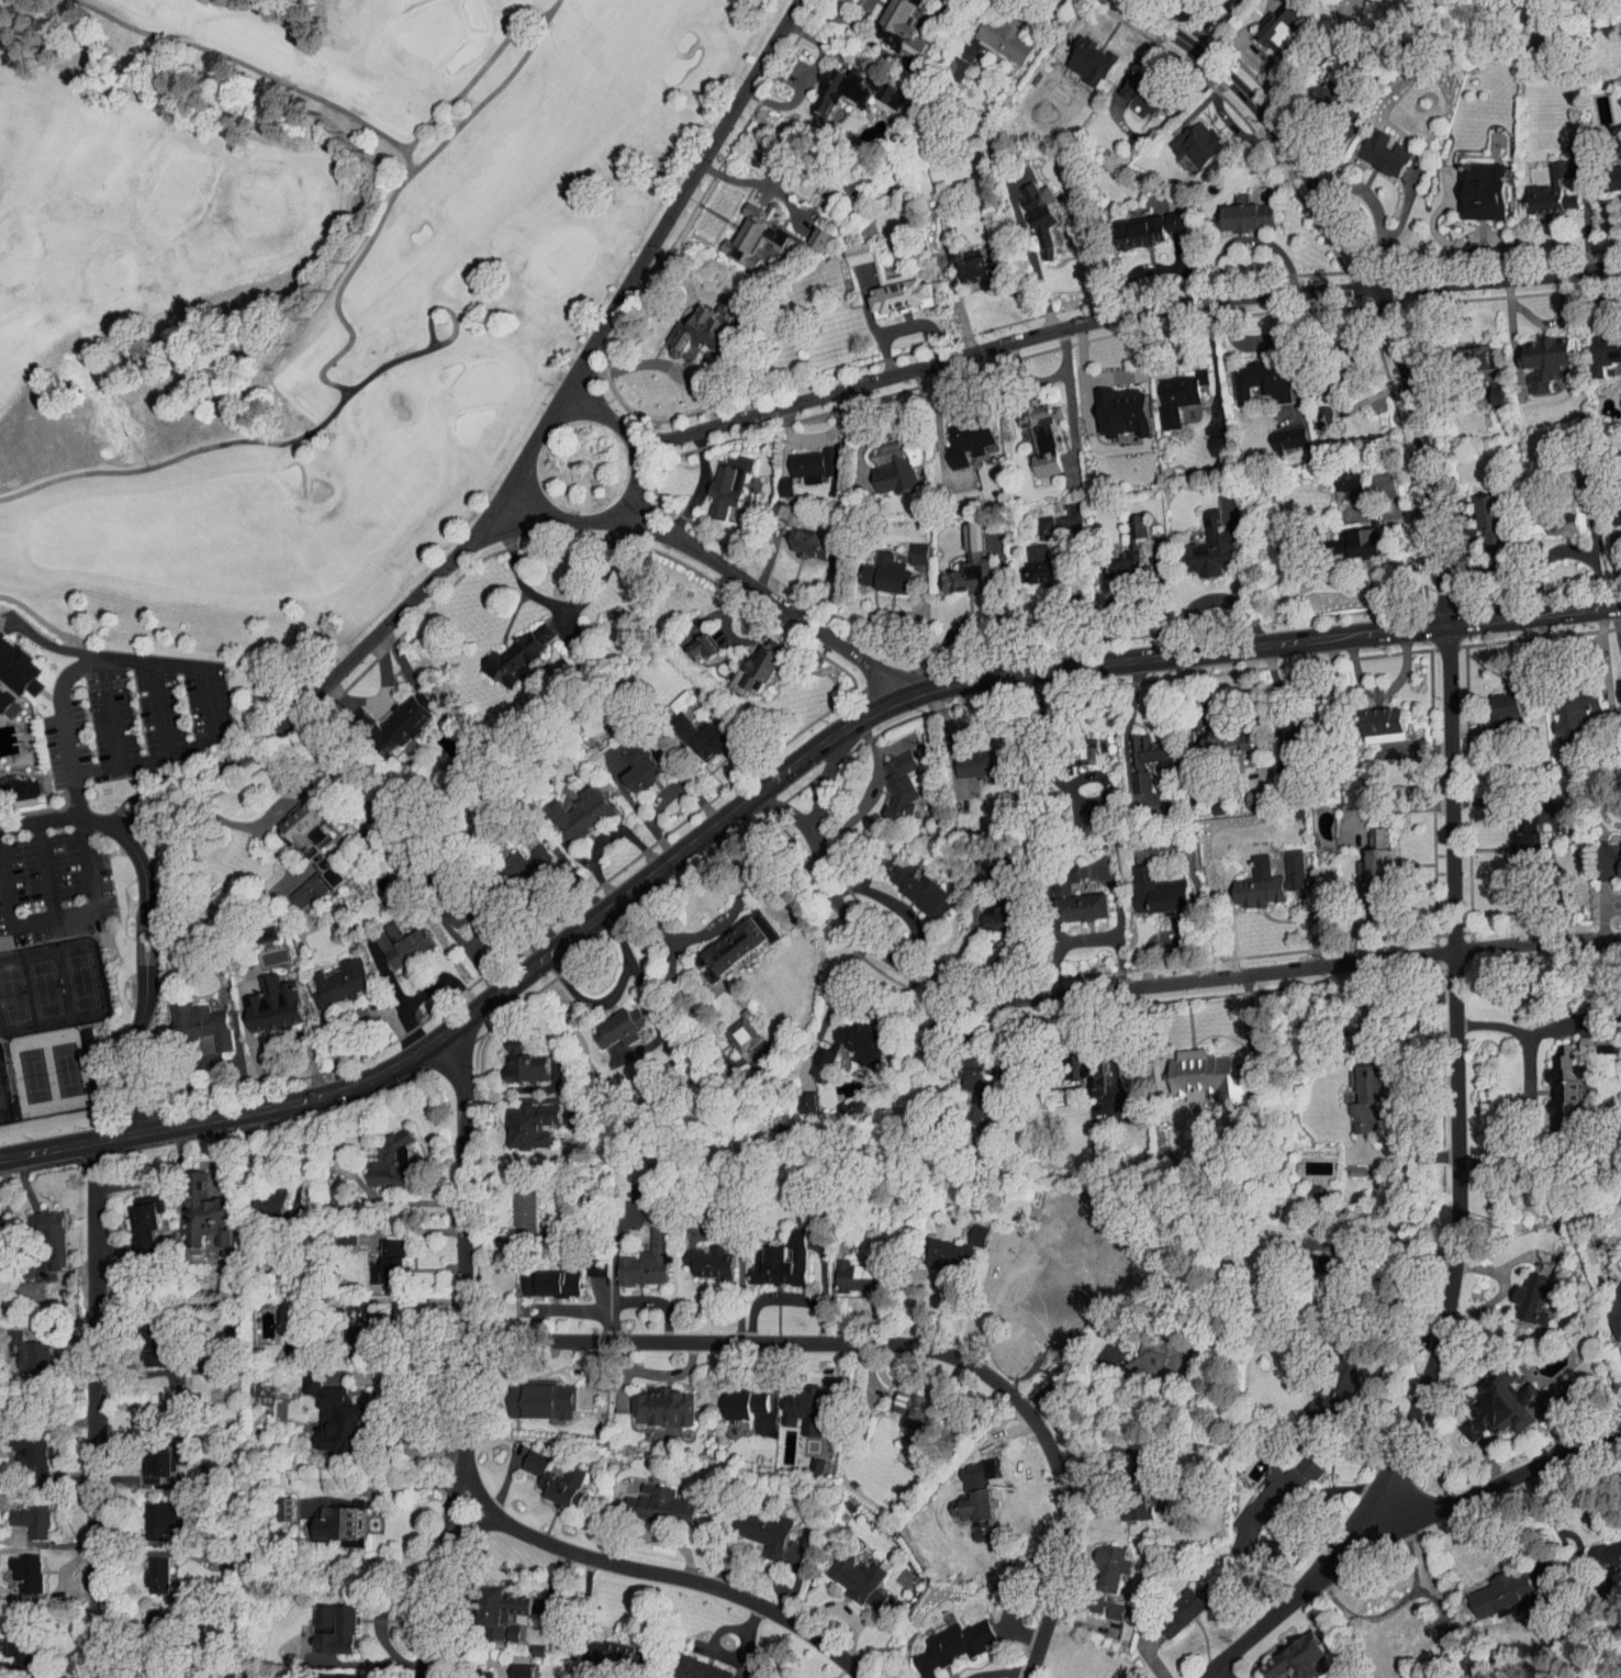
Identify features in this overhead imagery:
road: (1033, 19)
building: (1267, 22)
building: (891, 25)
building: (992, 33)
building: (1080, 54)
road: (247, 66)
road: (461, 69)
road: (805, 78)
building: (843, 83)
building: (1315, 83)
building: (1133, 88)
building: (1127, 102)
building: (1187, 136)
building: (1374, 146)
building: (1611, 161)
road: (761, 183)
building: (1472, 184)
road: (381, 189)
road: (675, 203)
building: (1029, 205)
building: (1234, 209)
building: (1165, 214)
building: (1128, 225)
building: (744, 227)
building: (807, 231)
road: (1031, 261)
building: (972, 265)
road: (1366, 269)
building: (872, 275)
park: (300, 295)
road: (1120, 317)
building: (686, 327)
building: (1600, 344)
building: (1467, 346)
building: (1534, 354)
building: (1250, 374)
building: (1486, 387)
building: (1167, 389)
building: (1113, 405)
building: (1313, 411)
building: (1276, 432)
building: (1032, 433)
building: (958, 434)
road: (270, 436)
building: (1207, 439)
building: (803, 458)
building: (882, 461)
road: (636, 465)
building: (1620, 471)
building: (1338, 474)
building: (717, 478)
building: (1613, 511)
building: (1554, 514)
building: (1480, 515)
building: (1125, 519)
building: (1033, 521)
building: (1204, 534)
building: (1350, 536)
building: (798, 538)
building: (1026, 546)
building: (907, 547)
building: (963, 555)
building: (1116, 560)
building: (1035, 564)
building: (875, 568)
road: (765, 596)
road: (997, 604)
road: (564, 605)
road: (875, 615)
road: (34, 619)
traffic signals: (1444, 626)
road: (923, 628)
road: (1617, 628)
road: (948, 635)
building: (691, 640)
road: (1261, 645)
building: (505, 650)
building: (750, 662)
road: (149, 663)
building: (13, 667)
park: (14, 675)
road: (328, 678)
building: (1614, 684)
building: (1, 692)
building: (1498, 700)
building: (1566, 704)
parking lot: (126, 709)
road: (870, 711)
building: (396, 712)
building: (1376, 718)
building: (692, 731)
building: (1218, 731)
building: (1138, 753)
building: (629, 758)
building: (965, 758)
building: (888, 781)
road: (1058, 782)
building: (1242, 793)
road: (268, 798)
road: (789, 805)
building: (569, 806)
building: (1081, 815)
building: (1517, 839)
building: (299, 847)
building: (1364, 851)
building: (518, 853)
building: (1614, 861)
building: (1261, 875)
building: (907, 882)
parking lot: (45, 883)
building: (1148, 886)
building: (1069, 898)
building: (448, 905)
building: (993, 908)
road: (1203, 914)
road: (63, 915)
road: (146, 915)
road: (717, 924)
building: (390, 938)
building: (726, 938)
road: (1088, 939)
building: (329, 976)
park: (51, 987)
road: (1131, 987)
road: (614, 996)
building: (262, 998)
road: (860, 1006)
building: (189, 1018)
road: (458, 1023)
building: (607, 1029)
building: (852, 1036)
road: (709, 1043)
building: (513, 1058)
building: (809, 1058)
building: (1082, 1071)
building: (1198, 1071)
building: (1562, 1072)
park: (49, 1073)
road: (1395, 1077)
building: (972, 1084)
building: (1354, 1085)
road: (1523, 1089)
park: (4, 1093)
building: (797, 1097)
road: (1457, 1097)
building: (380, 1155)
building: (329, 1185)
building: (1299, 1186)
building: (260, 1193)
building: (513, 1198)
building: (194, 1207)
building: (135, 1213)
building: (334, 1227)
building: (40, 1229)
building: (966, 1229)
road: (411, 1231)
building: (932, 1248)
building: (635, 1254)
building: (698, 1254)
building: (769, 1255)
road: (1391, 1257)
building: (846, 1269)
building: (539, 1275)
building: (21, 1284)
building: (1520, 1291)
road: (1499, 1293)
building: (1610, 1304)
building: (364, 1313)
building: (149, 1340)
road: (903, 1344)
building: (20, 1345)
road: (474, 1347)
building: (1145, 1354)
building: (194, 1361)
road: (1065, 1374)
building: (1327, 1375)
road: (1368, 1387)
building: (532, 1392)
building: (735, 1396)
building: (1491, 1397)
building: (652, 1399)
building: (792, 1400)
building: (903, 1401)
road: (98, 1406)
building: (325, 1410)
road: (385, 1410)
road: (986, 1444)
building: (22, 1448)
building: (146, 1457)
building: (805, 1459)
building: (545, 1473)
road: (416, 1485)
building: (964, 1494)
building: (1261, 1494)
building: (650, 1498)
building: (1123, 1499)
building: (275, 1501)
building: (149, 1510)
building: (21, 1512)
building: (327, 1518)
road: (476, 1521)
road: (1290, 1523)
building: (754, 1525)
road: (1389, 1526)
road: (1525, 1529)
road: (1569, 1533)
road: (659, 1536)
building: (1600, 1546)
building: (1098, 1559)
building: (16, 1564)
building: (145, 1568)
building: (846, 1570)
road: (662, 1574)
road: (1415, 1577)
building: (1500, 1585)
building: (1096, 1601)
building: (1175, 1601)
building: (489, 1603)
road: (1362, 1619)
building: (335, 1621)
building: (502, 1626)
building: (938, 1641)
building: (9, 1642)
building: (613, 1646)
building: (1286, 1653)
building: (511, 1666)
building: (693, 1666)
building: (144, 1669)
road: (1219, 1669)
road: (999, 1671)
building: (324, 1673)
building: (774, 1677)

